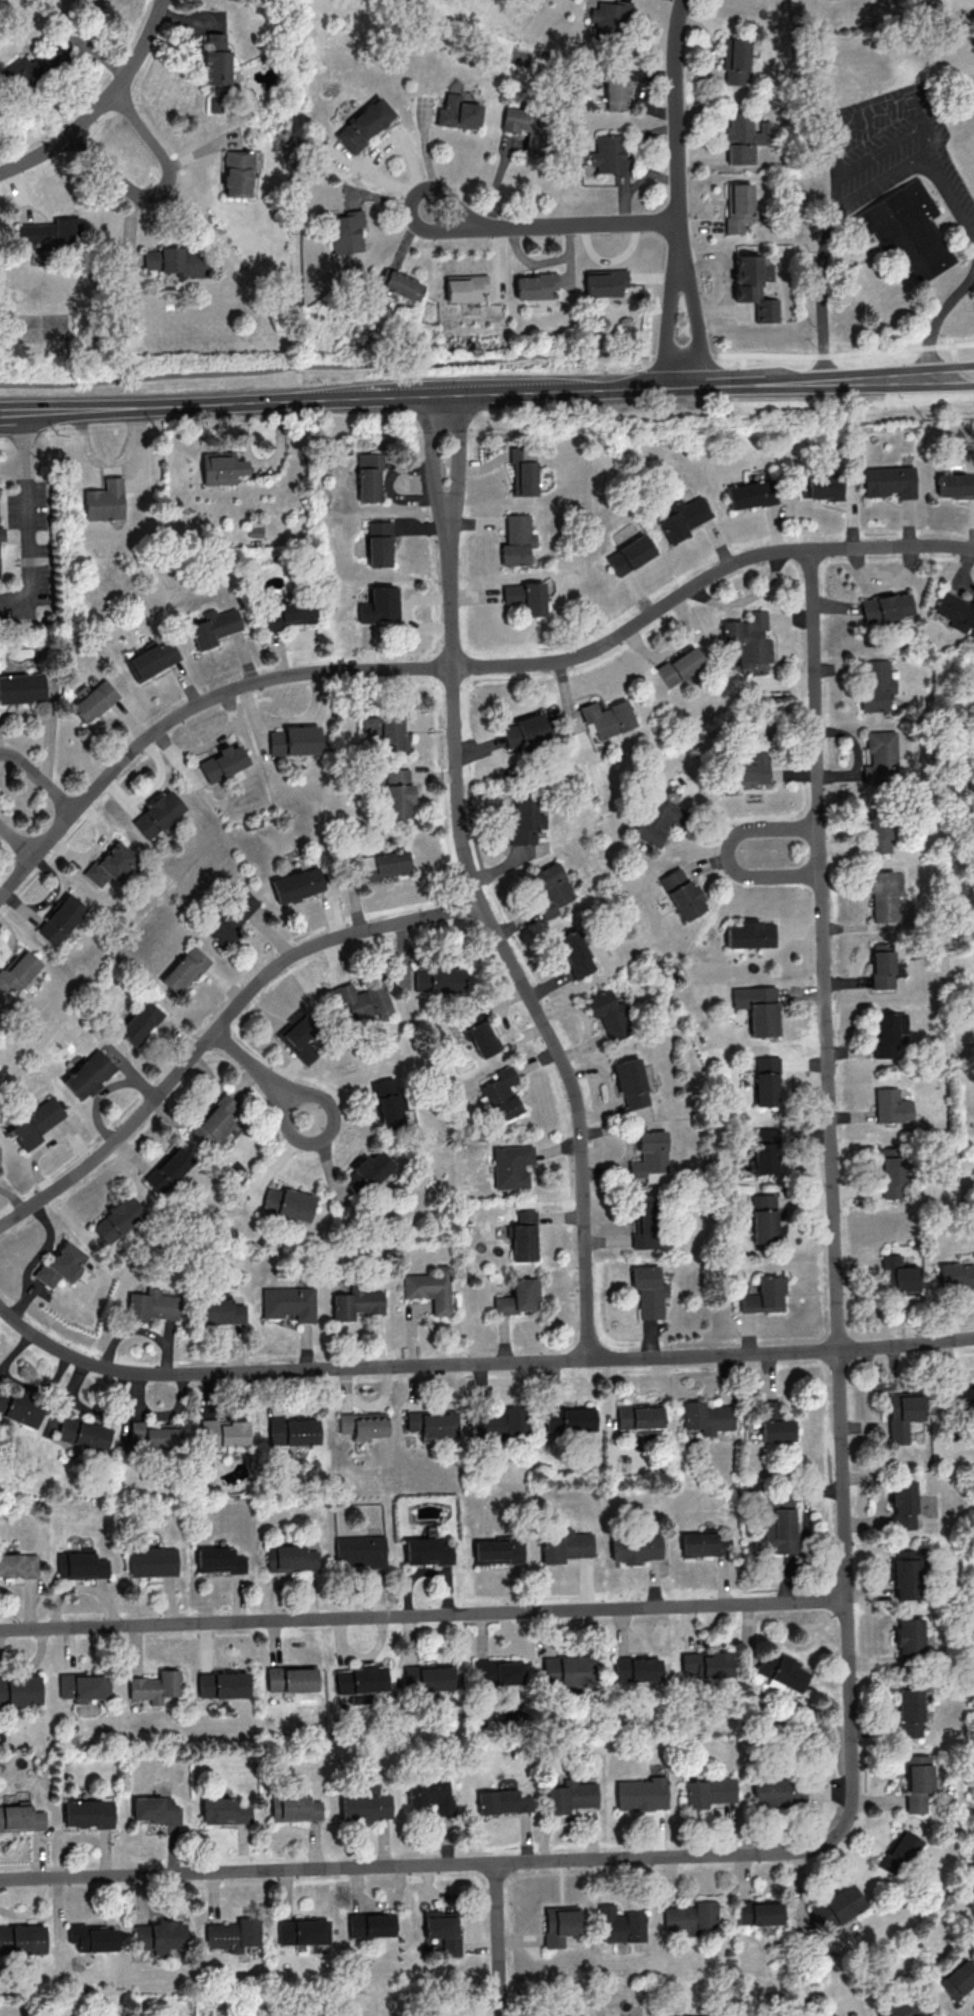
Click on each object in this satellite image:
building: (609, 16)
building: (214, 60)
building: (735, 61)
building: (19, 71)
building: (614, 88)
road: (100, 104)
building: (457, 112)
building: (363, 124)
building: (523, 125)
road: (676, 125)
building: (744, 138)
parking lot: (893, 153)
building: (607, 154)
building: (235, 173)
road: (162, 189)
building: (738, 206)
road: (847, 207)
road: (551, 224)
building: (346, 231)
building: (50, 233)
building: (905, 233)
building: (173, 260)
building: (604, 282)
building: (403, 284)
building: (535, 285)
building: (754, 285)
building: (465, 287)
road: (667, 318)
road: (692, 318)
road: (938, 322)
road: (844, 353)
road: (682, 355)
road: (742, 361)
road: (325, 364)
road: (951, 366)
road: (952, 381)
road: (675, 386)
road: (210, 403)
road: (24, 448)
road: (456, 454)
road: (429, 455)
road: (13, 465)
building: (219, 467)
building: (521, 470)
building: (369, 477)
building: (889, 481)
building: (955, 485)
building: (824, 486)
building: (751, 494)
building: (104, 500)
road: (29, 518)
building: (682, 518)
building: (0, 537)
building: (516, 540)
building: (378, 543)
building: (629, 554)
building: (525, 596)
building: (380, 604)
building: (885, 607)
building: (955, 611)
building: (290, 613)
building: (214, 626)
building: (746, 638)
building: (153, 659)
building: (679, 665)
road: (458, 667)
building: (876, 684)
building: (21, 687)
building: (93, 700)
building: (607, 717)
building: (525, 730)
building: (386, 731)
building: (294, 740)
building: (881, 757)
building: (222, 762)
building: (749, 769)
road: (37, 778)
building: (397, 792)
building: (156, 813)
building: (658, 820)
building: (525, 822)
building: (879, 835)
road: (17, 842)
road: (728, 854)
building: (109, 863)
building: (382, 865)
building: (296, 884)
building: (551, 888)
building: (682, 893)
building: (887, 893)
building: (231, 917)
building: (59, 919)
building: (750, 934)
road: (500, 941)
building: (574, 953)
building: (883, 965)
building: (17, 969)
building: (184, 969)
building: (437, 978)
building: (361, 1000)
building: (758, 1008)
building: (609, 1014)
building: (139, 1022)
road: (219, 1025)
building: (478, 1031)
building: (888, 1032)
building: (299, 1038)
building: (87, 1074)
road: (261, 1074)
building: (766, 1081)
building: (630, 1082)
building: (500, 1095)
building: (386, 1103)
building: (891, 1106)
building: (213, 1120)
building: (35, 1122)
building: (765, 1150)
building: (650, 1156)
building: (511, 1165)
building: (167, 1169)
building: (367, 1171)
building: (892, 1172)
building: (286, 1202)
building: (763, 1218)
building: (116, 1219)
building: (644, 1224)
building: (524, 1236)
building: (61, 1264)
building: (897, 1275)
building: (956, 1275)
building: (429, 1288)
building: (648, 1291)
building: (764, 1295)
building: (519, 1296)
building: (288, 1302)
building: (355, 1303)
building: (151, 1305)
building: (221, 1309)
road: (477, 1364)
building: (964, 1397)
building: (19, 1408)
building: (902, 1414)
building: (569, 1417)
building: (706, 1417)
building: (640, 1418)
building: (773, 1422)
building: (432, 1423)
building: (500, 1423)
building: (363, 1424)
building: (292, 1431)
building: (225, 1432)
building: (83, 1433)
building: (155, 1433)
building: (901, 1504)
building: (780, 1530)
building: (704, 1543)
building: (565, 1545)
building: (635, 1548)
building: (360, 1550)
building: (427, 1550)
building: (498, 1550)
building: (290, 1558)
building: (218, 1559)
building: (151, 1561)
building: (80, 1564)
building: (18, 1565)
building: (904, 1574)
road: (847, 1614)
road: (423, 1615)
building: (908, 1636)
building: (706, 1663)
building: (636, 1668)
building: (567, 1670)
building: (497, 1671)
building: (781, 1671)
building: (429, 1677)
building: (290, 1678)
building: (360, 1680)
building: (222, 1684)
building: (83, 1686)
building: (154, 1686)
building: (19, 1690)
building: (908, 1713)
building: (917, 1782)
building: (708, 1791)
building: (779, 1792)
building: (429, 1793)
building: (641, 1793)
building: (570, 1796)
building: (502, 1801)
building: (365, 1805)
building: (293, 1807)
building: (155, 1809)
building: (224, 1810)
building: (88, 1813)
building: (20, 1817)
building: (898, 1852)
building: (837, 1906)
building: (759, 1912)
building: (690, 1916)
building: (370, 1924)
building: (559, 1924)
building: (620, 1924)
building: (442, 1929)
building: (301, 1931)
building: (233, 1934)
building: (159, 1936)
building: (92, 1937)
building: (21, 1939)
road: (498, 1939)
building: (958, 1979)
building: (904, 2008)
building: (703, 2015)
building: (830, 2015)

